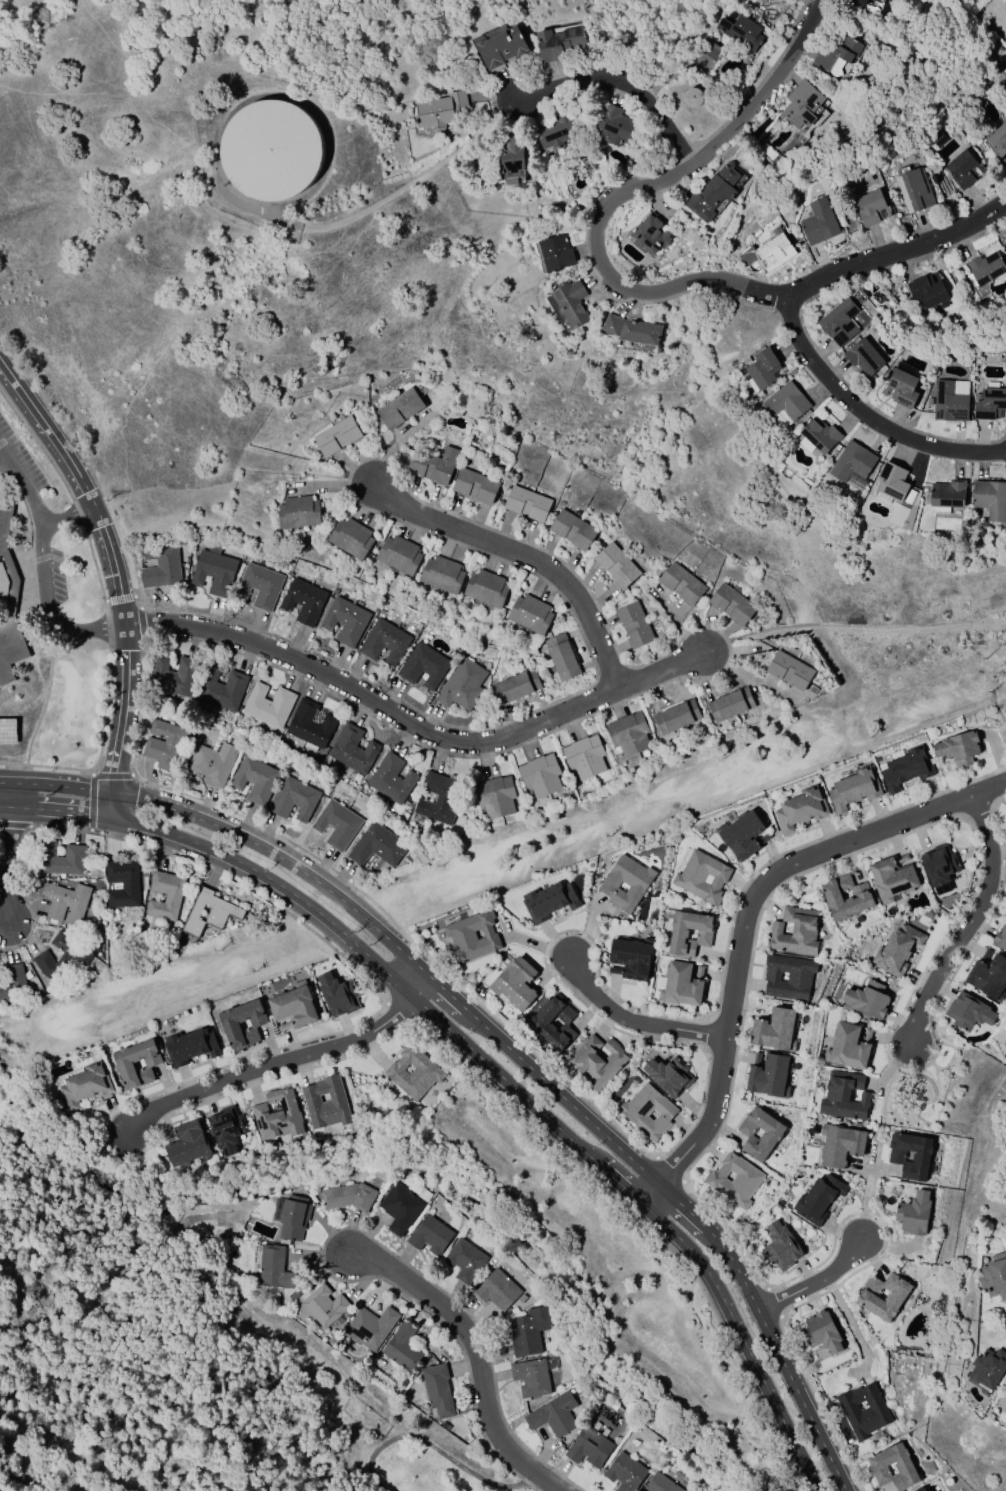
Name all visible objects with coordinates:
building: (762, 0)
building: (878, 1)
building: (857, 2)
building: (743, 32)
building: (558, 43)
building: (501, 45)
building: (838, 55)
road: (625, 86)
building: (693, 97)
building: (802, 104)
building: (441, 108)
building: (616, 125)
building: (762, 127)
building: (557, 131)
building: (999, 141)
building: (271, 150)
building: (513, 157)
building: (963, 169)
building: (914, 189)
building: (713, 192)
road: (624, 196)
building: (871, 207)
building: (819, 222)
building: (653, 234)
building: (774, 250)
road: (899, 253)
building: (555, 255)
building: (985, 272)
building: (928, 290)
building: (571, 303)
building: (839, 323)
building: (636, 328)
building: (864, 357)
building: (763, 370)
road: (4, 371)
building: (903, 384)
building: (951, 400)
building: (990, 404)
building: (787, 405)
building: (400, 408)
road: (869, 416)
building: (337, 436)
building: (818, 436)
road: (57, 449)
road: (5, 453)
road: (5, 461)
building: (855, 461)
parking lot: (18, 462)
building: (432, 465)
building: (893, 484)
building: (475, 486)
road: (26, 493)
building: (948, 495)
building: (990, 499)
building: (526, 504)
building: (299, 512)
road: (66, 515)
building: (572, 529)
building: (352, 538)
road: (536, 545)
building: (399, 554)
road: (521, 555)
building: (160, 566)
building: (616, 566)
building: (213, 570)
building: (442, 574)
parking lot: (56, 575)
road: (113, 575)
building: (259, 584)
building: (682, 584)
building: (486, 588)
road: (133, 595)
road: (119, 598)
road: (104, 600)
building: (303, 600)
building: (8, 602)
building: (732, 604)
road: (139, 606)
road: (47, 608)
building: (530, 614)
building: (347, 620)
road: (141, 624)
road: (132, 625)
building: (634, 625)
road: (144, 641)
building: (386, 641)
building: (561, 657)
road: (126, 662)
building: (425, 666)
building: (789, 670)
building: (176, 676)
building: (464, 686)
road: (108, 687)
building: (516, 687)
building: (223, 689)
building: (268, 705)
building: (732, 705)
building: (677, 717)
road: (123, 719)
building: (310, 726)
building: (8, 728)
road: (426, 732)
building: (629, 734)
building: (166, 744)
building: (959, 748)
building: (353, 749)
road: (116, 755)
building: (584, 757)
building: (212, 763)
road: (45, 766)
building: (905, 767)
road: (91, 771)
road: (111, 773)
road: (131, 773)
building: (540, 776)
building: (254, 779)
building: (391, 779)
road: (6, 781)
road: (111, 782)
road: (52, 785)
building: (855, 788)
road: (101, 790)
road: (12, 794)
building: (495, 797)
building: (293, 798)
building: (437, 798)
road: (91, 800)
road: (112, 804)
road: (6, 806)
building: (802, 809)
road: (62, 810)
building: (336, 823)
road: (14, 825)
road: (90, 830)
building: (742, 834)
road: (253, 843)
building: (376, 844)
road: (161, 850)
building: (62, 859)
road: (240, 863)
road: (8, 864)
building: (940, 864)
building: (702, 877)
building: (893, 878)
building: (626, 882)
building: (123, 883)
building: (166, 896)
building: (846, 896)
building: (549, 900)
building: (66, 902)
road: (748, 911)
building: (208, 912)
road: (970, 924)
building: (795, 932)
building: (688, 933)
road: (318, 936)
building: (473, 936)
building: (1001, 938)
building: (897, 951)
road: (405, 955)
building: (62, 958)
building: (630, 959)
road: (383, 969)
building: (788, 977)
building: (988, 977)
building: (13, 984)
building: (514, 984)
building: (681, 984)
road: (423, 989)
building: (337, 994)
road: (448, 995)
building: (868, 999)
building: (293, 1006)
building: (0, 1007)
building: (969, 1011)
road: (633, 1020)
road: (477, 1021)
building: (242, 1023)
building: (553, 1023)
building: (775, 1030)
building: (848, 1045)
building: (189, 1046)
building: (597, 1061)
building: (123, 1064)
road: (272, 1065)
building: (413, 1071)
road: (494, 1071)
building: (768, 1075)
building: (668, 1076)
building: (84, 1086)
building: (844, 1096)
building: (325, 1103)
road: (573, 1108)
building: (648, 1111)
building: (276, 1115)
building: (227, 1129)
building: (760, 1134)
building: (187, 1143)
building: (841, 1144)
road: (586, 1154)
building: (895, 1158)
building: (733, 1180)
road: (619, 1184)
road: (649, 1193)
building: (347, 1197)
building: (819, 1198)
road: (866, 1199)
road: (682, 1206)
building: (400, 1208)
building: (913, 1213)
building: (293, 1217)
building: (430, 1235)
road: (717, 1242)
building: (780, 1247)
building: (463, 1260)
building: (273, 1268)
building: (994, 1276)
road: (813, 1281)
road: (742, 1283)
building: (497, 1290)
building: (869, 1298)
building: (324, 1306)
road: (734, 1325)
building: (371, 1326)
road: (702, 1327)
road: (850, 1327)
building: (529, 1330)
building: (821, 1332)
building: (402, 1347)
road: (480, 1362)
building: (989, 1367)
building: (531, 1377)
building: (437, 1390)
road: (801, 1400)
building: (863, 1410)
building: (553, 1414)
building: (445, 1425)
road: (742, 1429)
building: (589, 1447)
road: (435, 1448)
park: (406, 1450)
building: (903, 1467)
building: (625, 1472)
road: (792, 1474)
road: (810, 1478)
building: (661, 1484)
building: (920, 1489)

